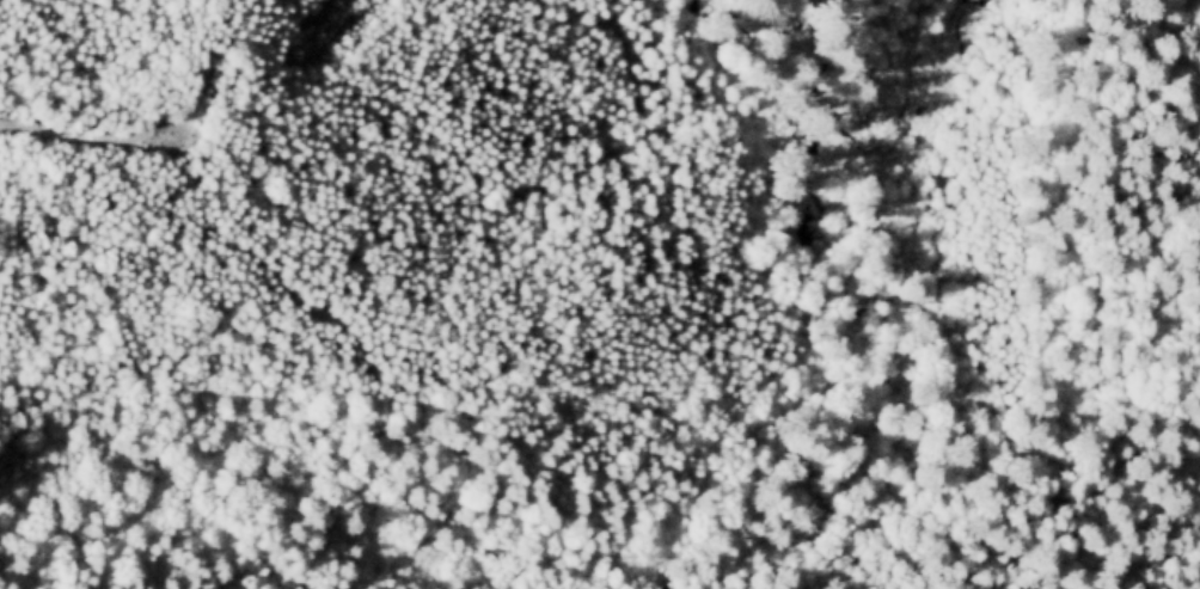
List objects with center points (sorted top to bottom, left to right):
road: (117, 142)

